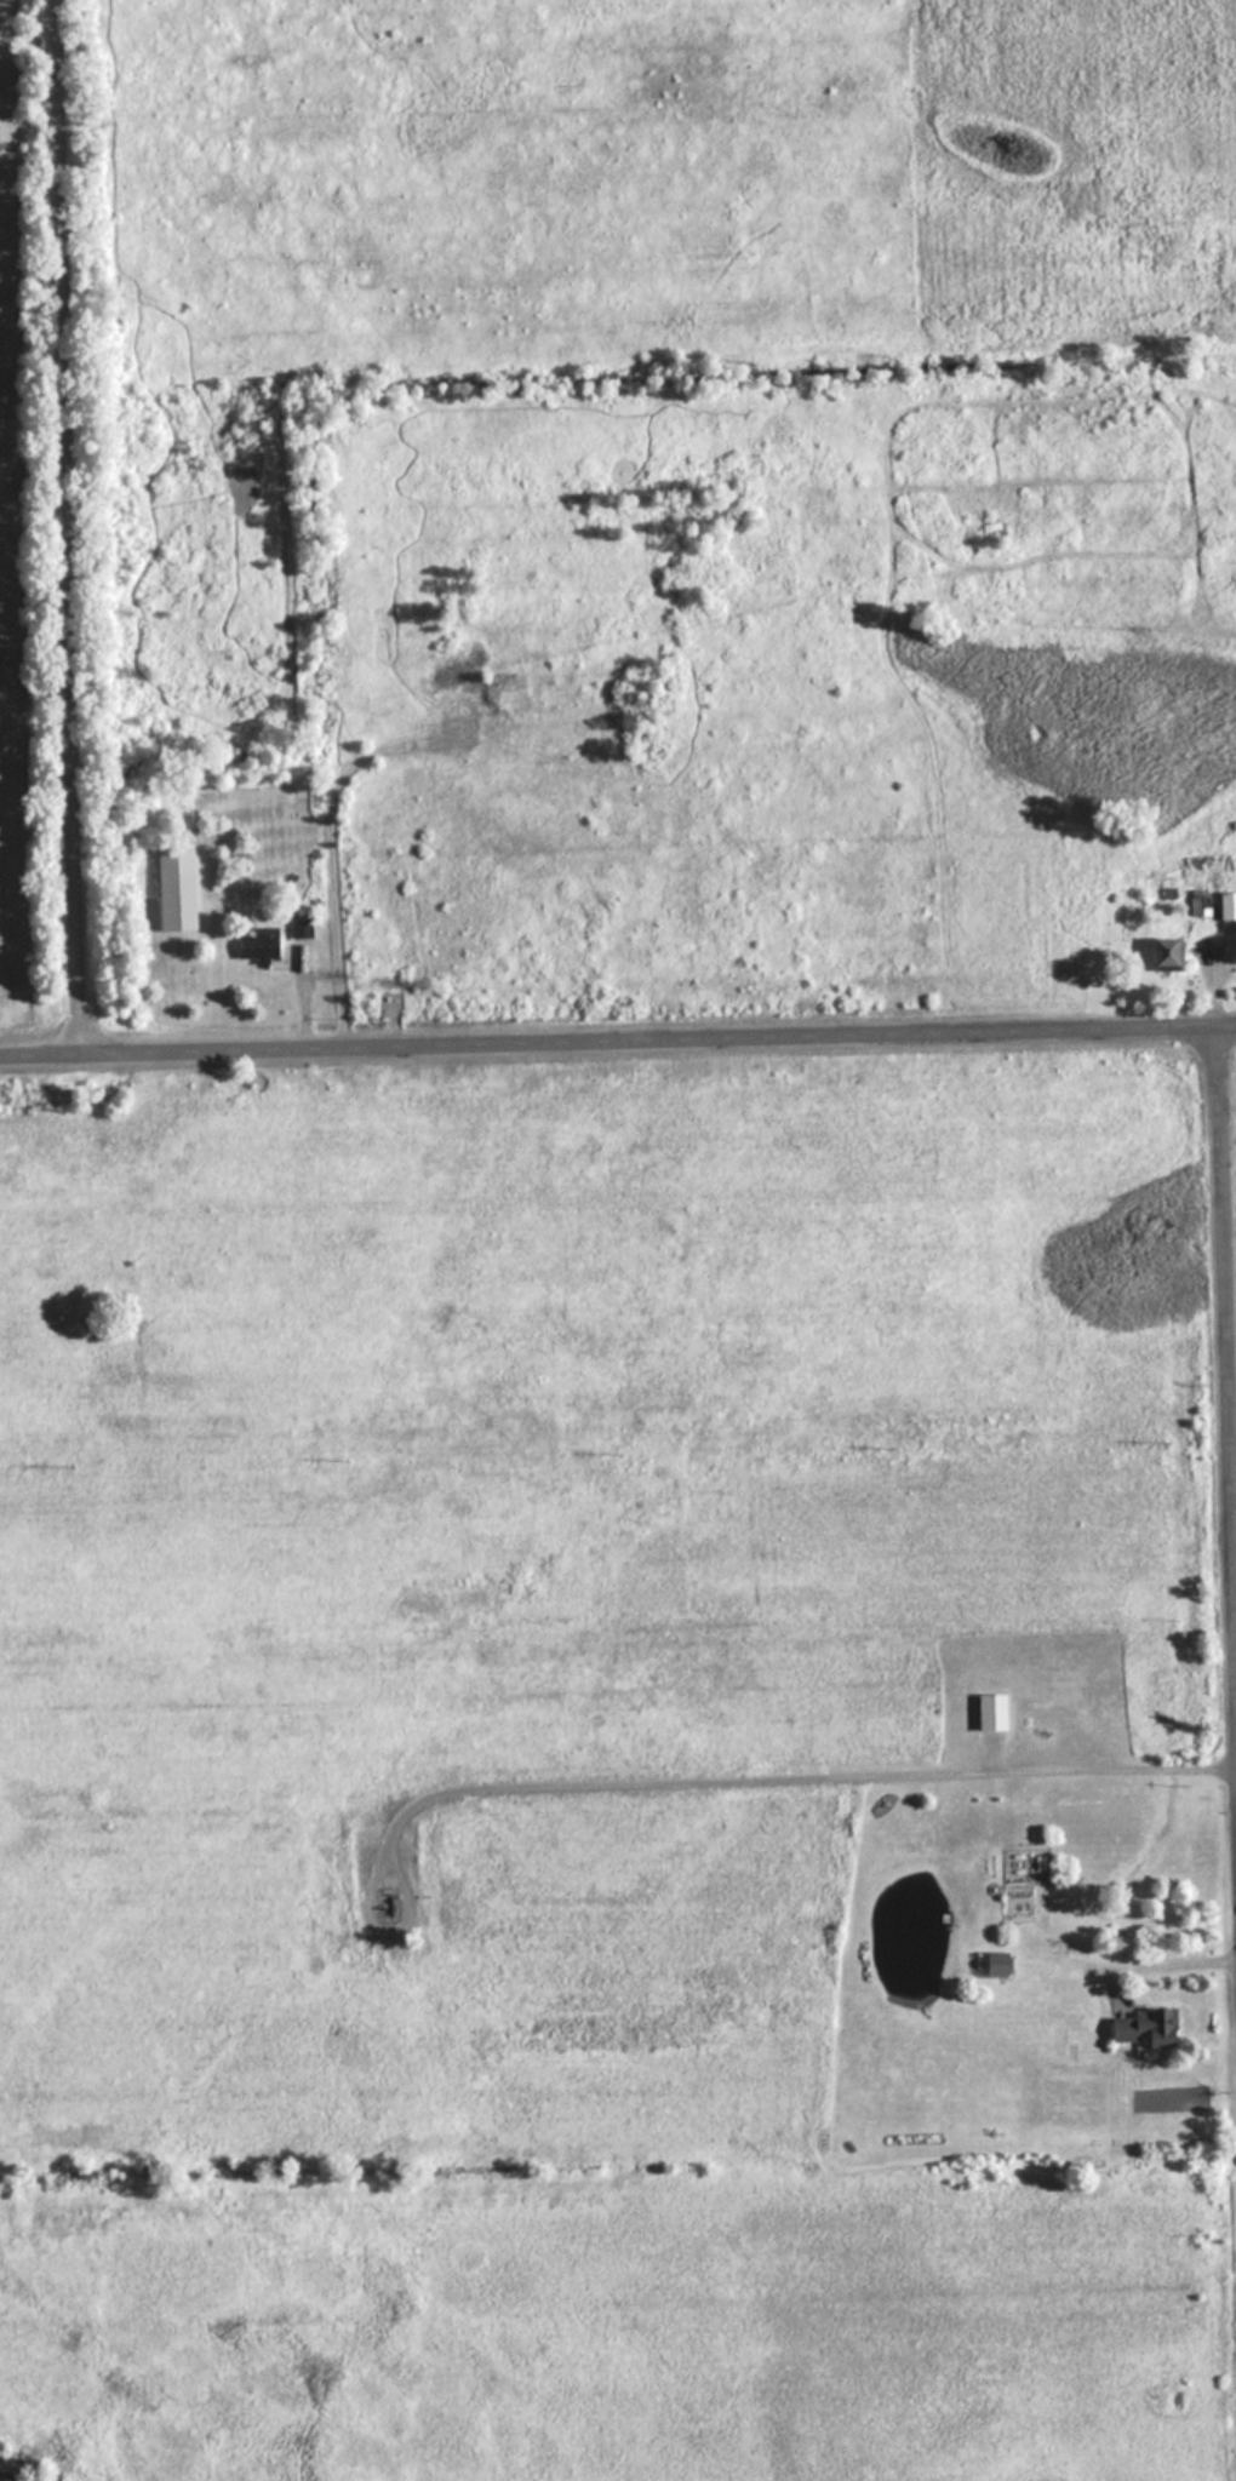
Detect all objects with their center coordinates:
road: (65, 525)
road: (332, 859)
building: (172, 888)
building: (1197, 905)
building: (299, 924)
building: (256, 942)
building: (1162, 952)
road: (617, 1042)
road: (1226, 1299)
building: (989, 1712)
road: (791, 1776)
petroleum well: (388, 1902)
building: (1143, 2027)

